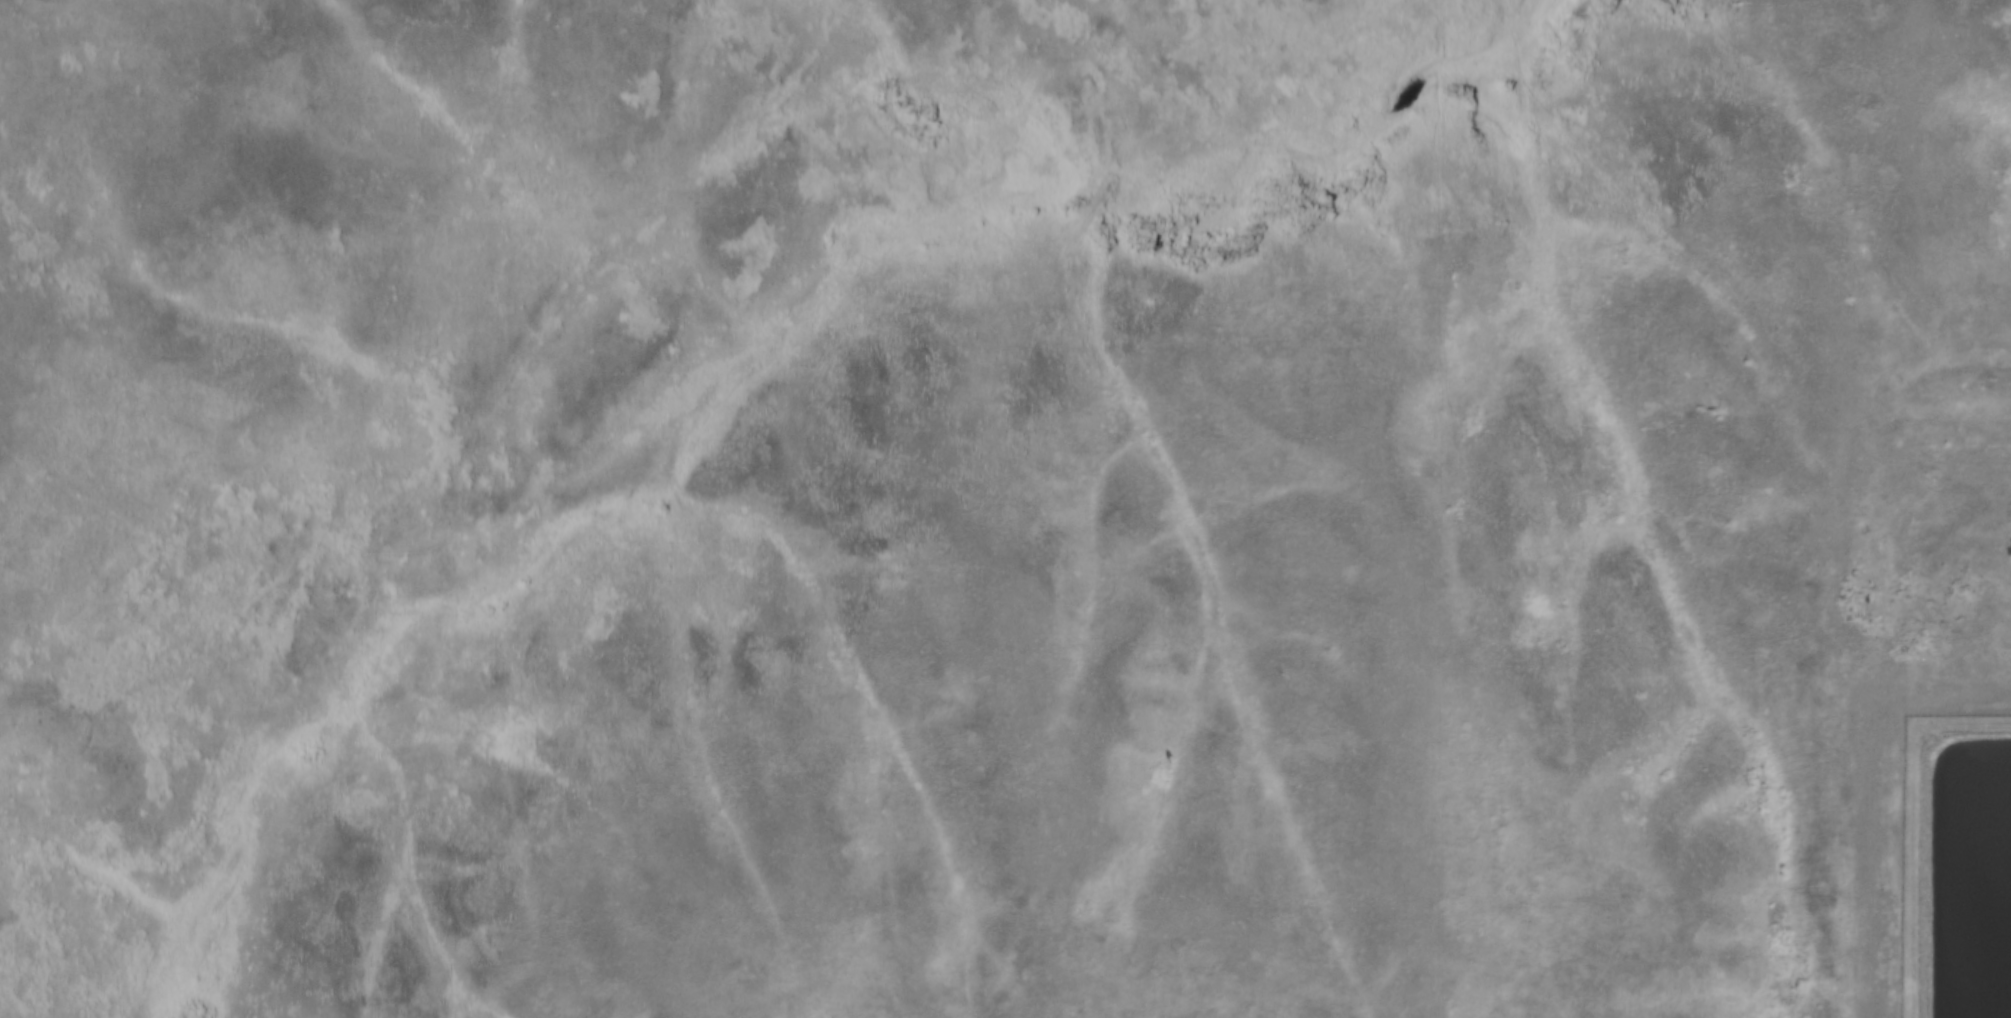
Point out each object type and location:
road: (1902, 850)

